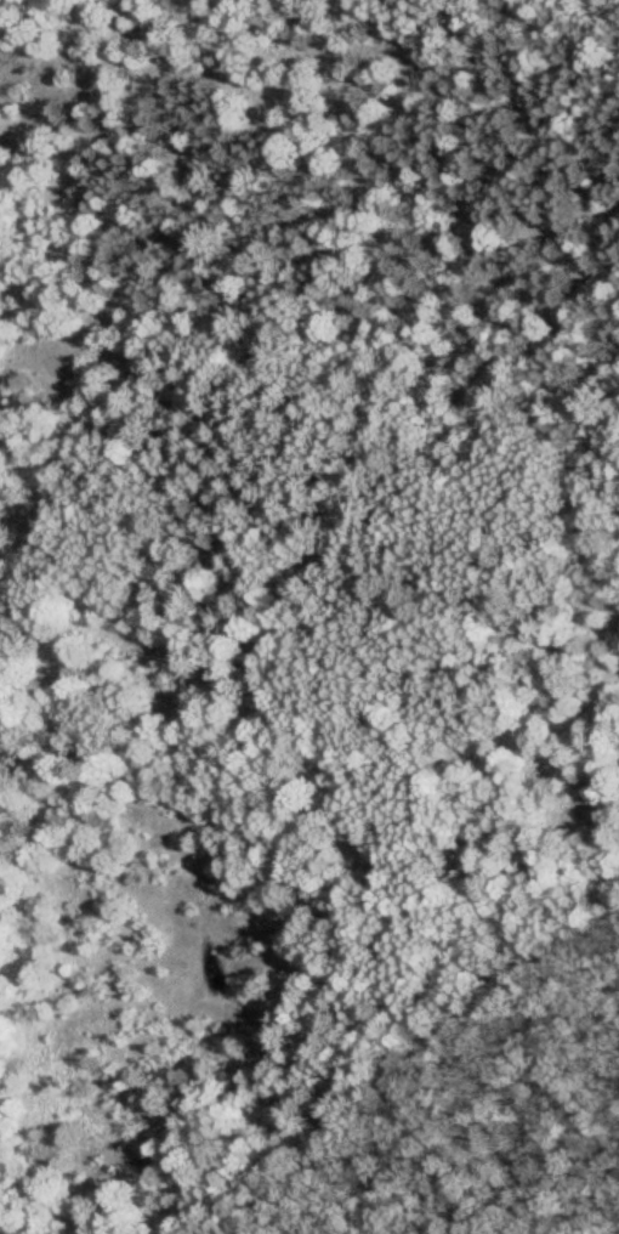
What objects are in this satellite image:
road: (390, 951)

